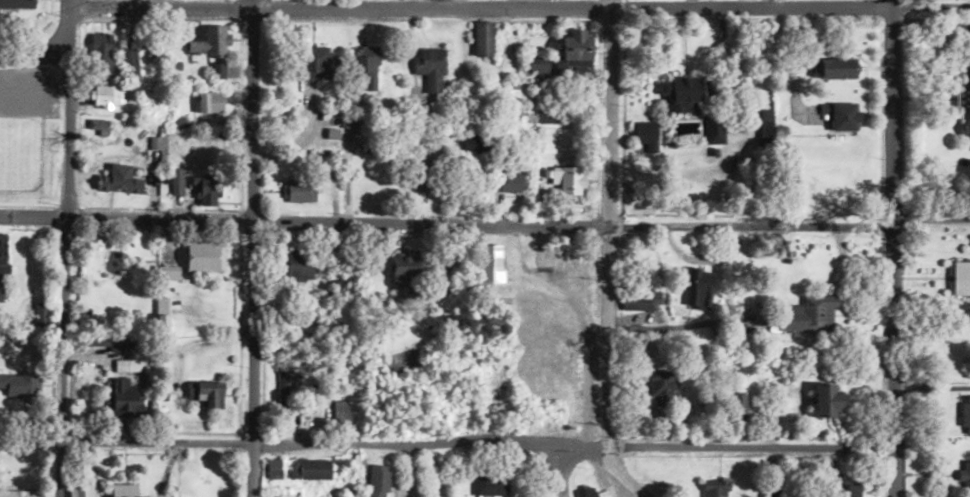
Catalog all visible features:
building: (15, 3)
road: (438, 3)
road: (520, 7)
building: (482, 38)
building: (209, 39)
road: (35, 50)
building: (100, 51)
building: (130, 53)
building: (565, 56)
building: (318, 63)
building: (364, 65)
building: (838, 66)
building: (430, 68)
building: (680, 93)
building: (103, 96)
building: (964, 101)
building: (210, 102)
building: (547, 116)
building: (844, 117)
building: (766, 124)
building: (98, 127)
building: (713, 129)
building: (475, 145)
building: (204, 147)
building: (419, 168)
building: (565, 179)
building: (118, 180)
building: (176, 182)
building: (509, 182)
building: (206, 190)
building: (298, 190)
road: (484, 224)
road: (65, 248)
road: (249, 248)
road: (894, 248)
road: (610, 254)
building: (202, 257)
building: (1, 259)
building: (488, 263)
building: (295, 266)
building: (403, 268)
building: (961, 278)
building: (698, 288)
building: (810, 312)
building: (160, 320)
building: (103, 348)
building: (18, 387)
building: (661, 389)
building: (124, 392)
building: (284, 392)
building: (204, 394)
building: (825, 401)
building: (737, 406)
building: (965, 414)
road: (447, 442)
building: (273, 468)
building: (311, 468)
road: (537, 469)
building: (966, 478)
building: (207, 479)
building: (380, 480)
building: (490, 484)
building: (715, 489)
building: (78, 490)
building: (122, 490)
building: (849, 490)
building: (585, 492)
building: (18, 493)

